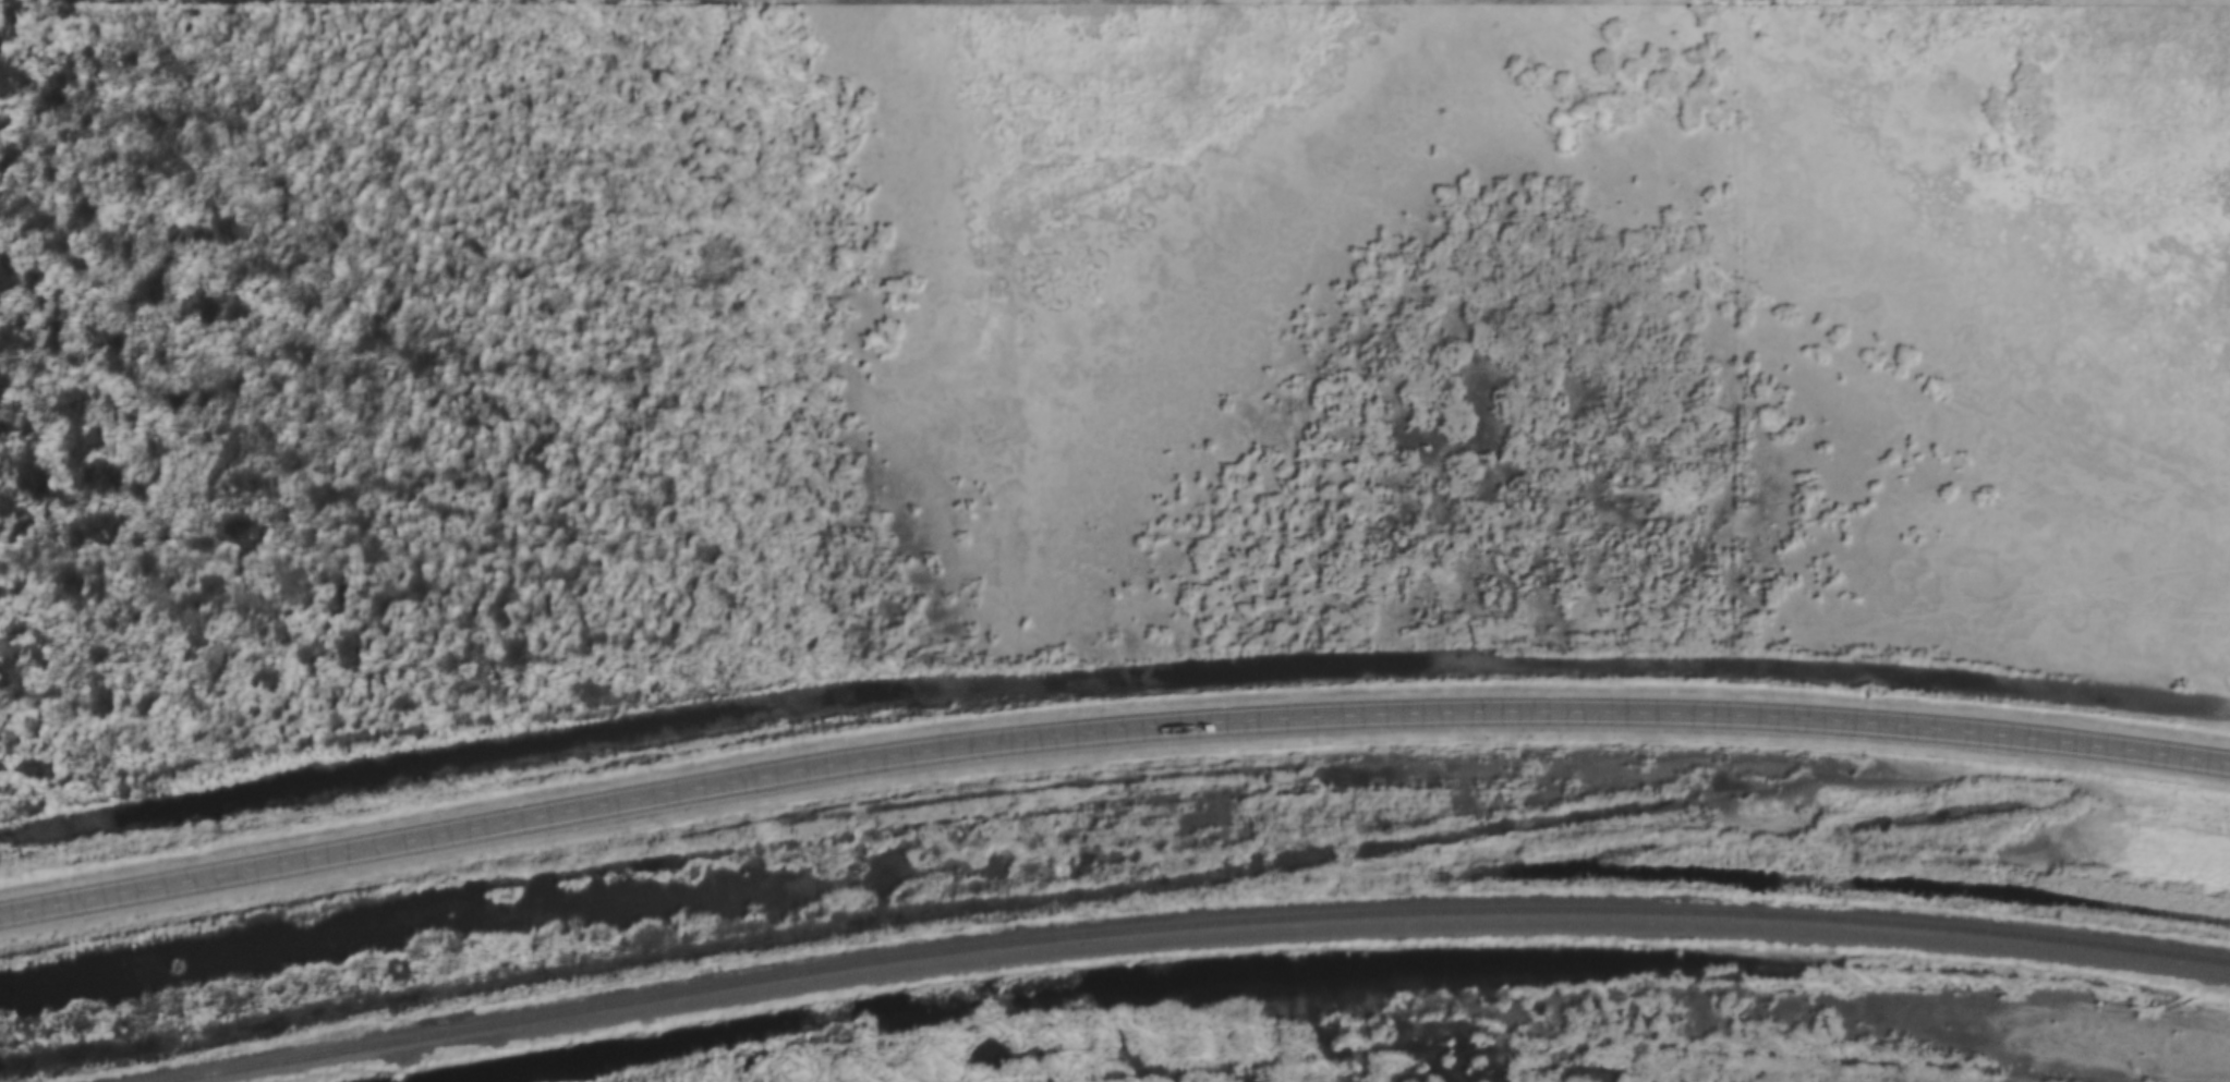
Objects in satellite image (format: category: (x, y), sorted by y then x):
road: (1108, 727)
railway: (1185, 924)
railway: (1310, 928)

